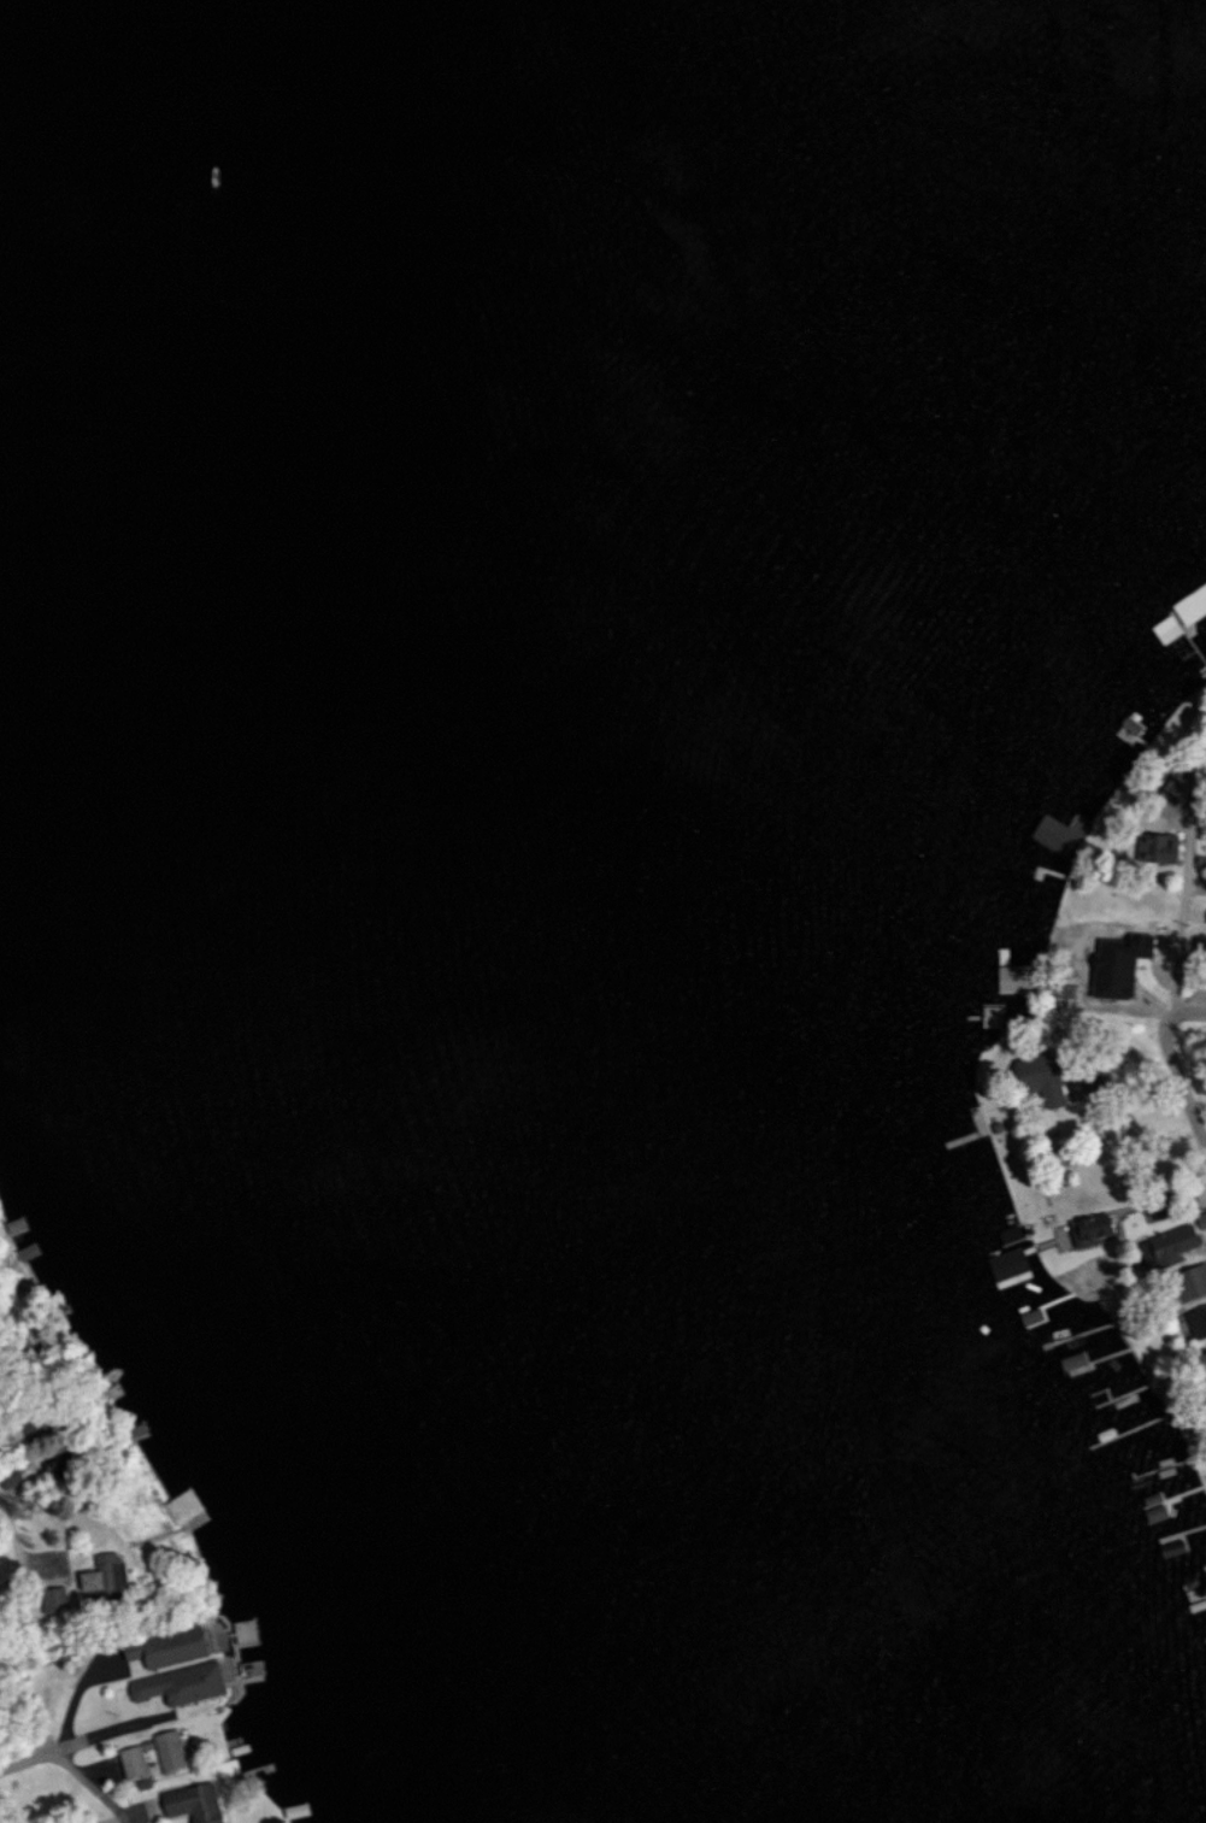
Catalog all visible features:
building: (1201, 831)
building: (1059, 833)
building: (1154, 847)
road: (1179, 916)
building: (1205, 919)
river: (613, 921)
building: (1116, 964)
road: (1172, 1062)
building: (1037, 1077)
building: (1200, 1221)
building: (1088, 1230)
building: (1164, 1246)
building: (1006, 1263)
building: (1189, 1282)
building: (1196, 1318)
building: (1202, 1363)
building: (7, 1478)
building: (98, 1577)
building: (48, 1600)
building: (163, 1647)
building: (178, 1684)
road: (119, 1724)
building: (167, 1750)
road: (27, 1758)
building: (130, 1762)
road: (93, 1786)
building: (190, 1803)

